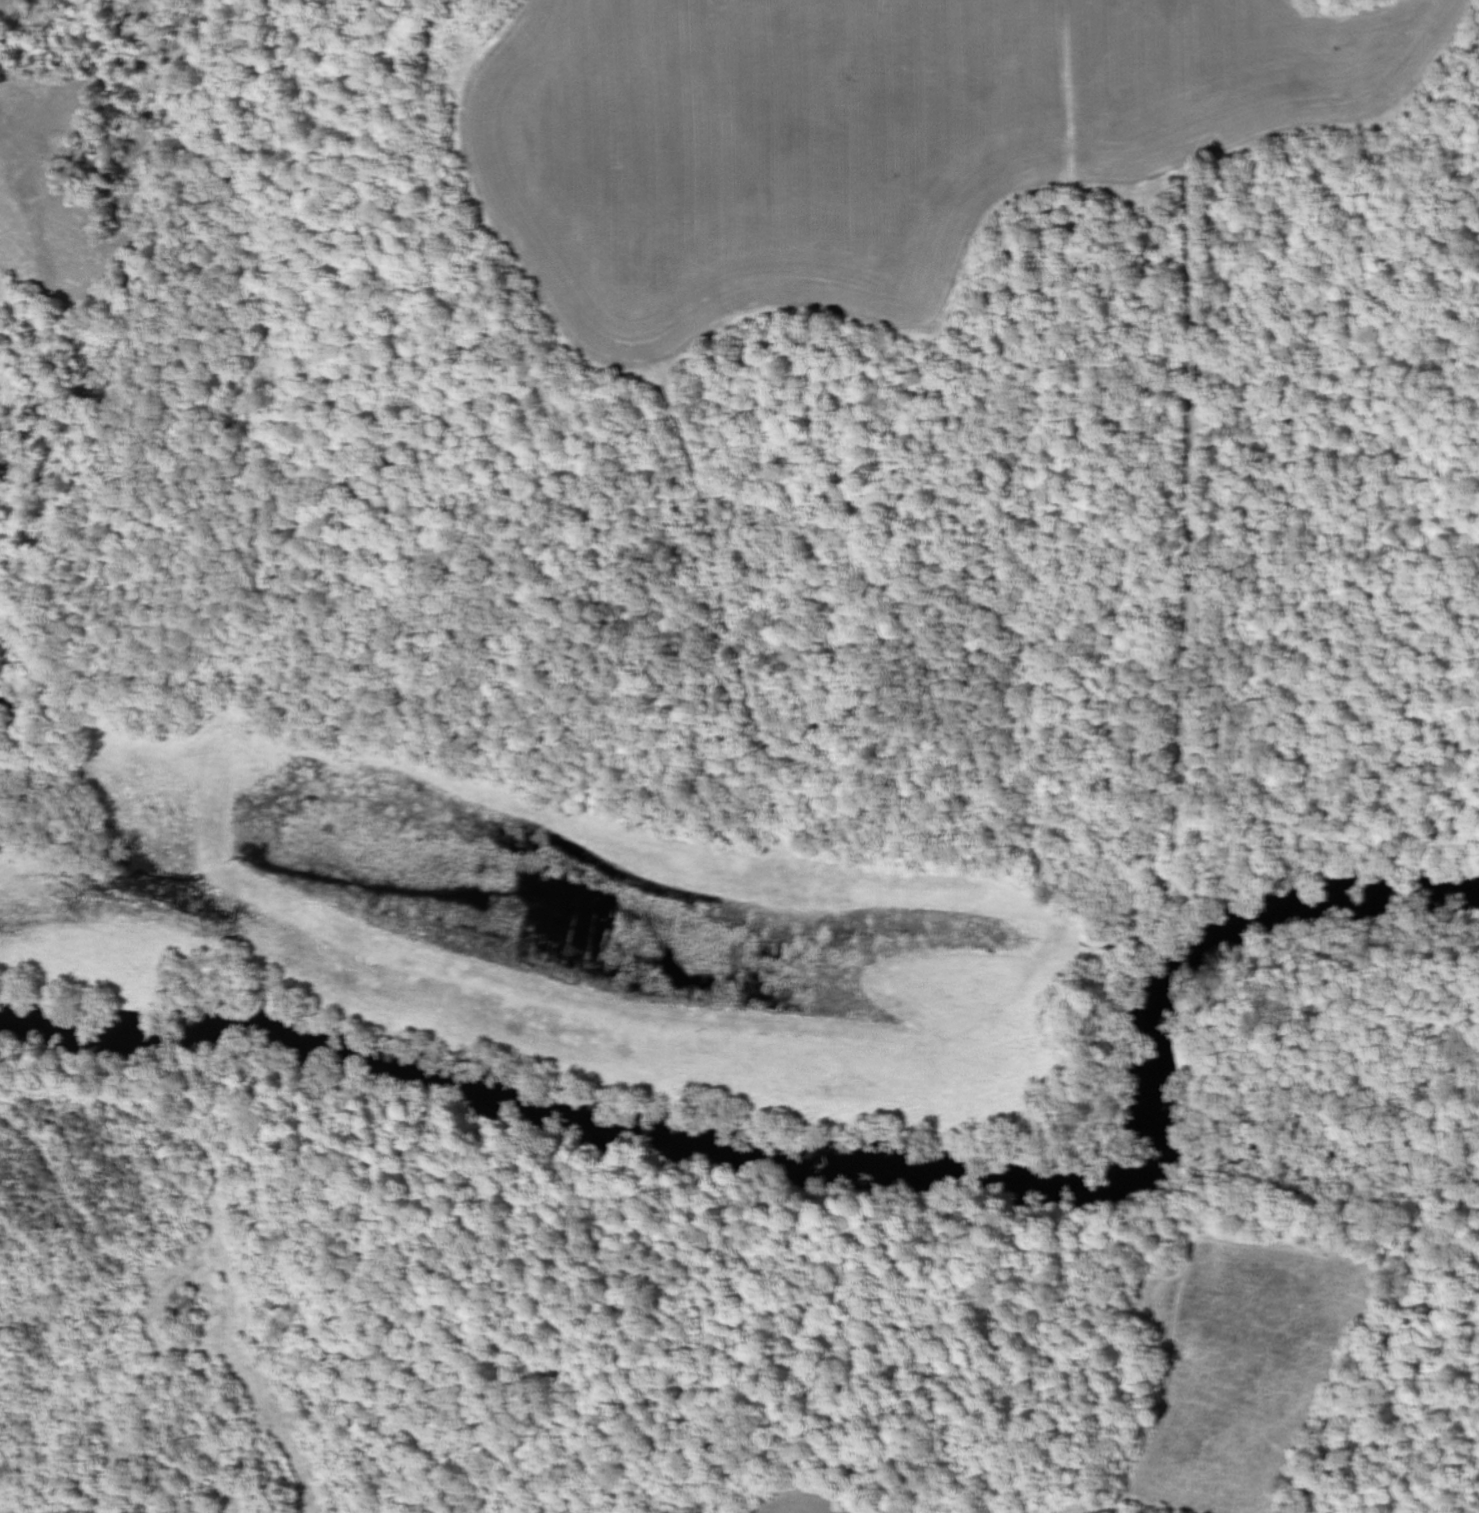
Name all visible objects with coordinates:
river: (837, 1166)

